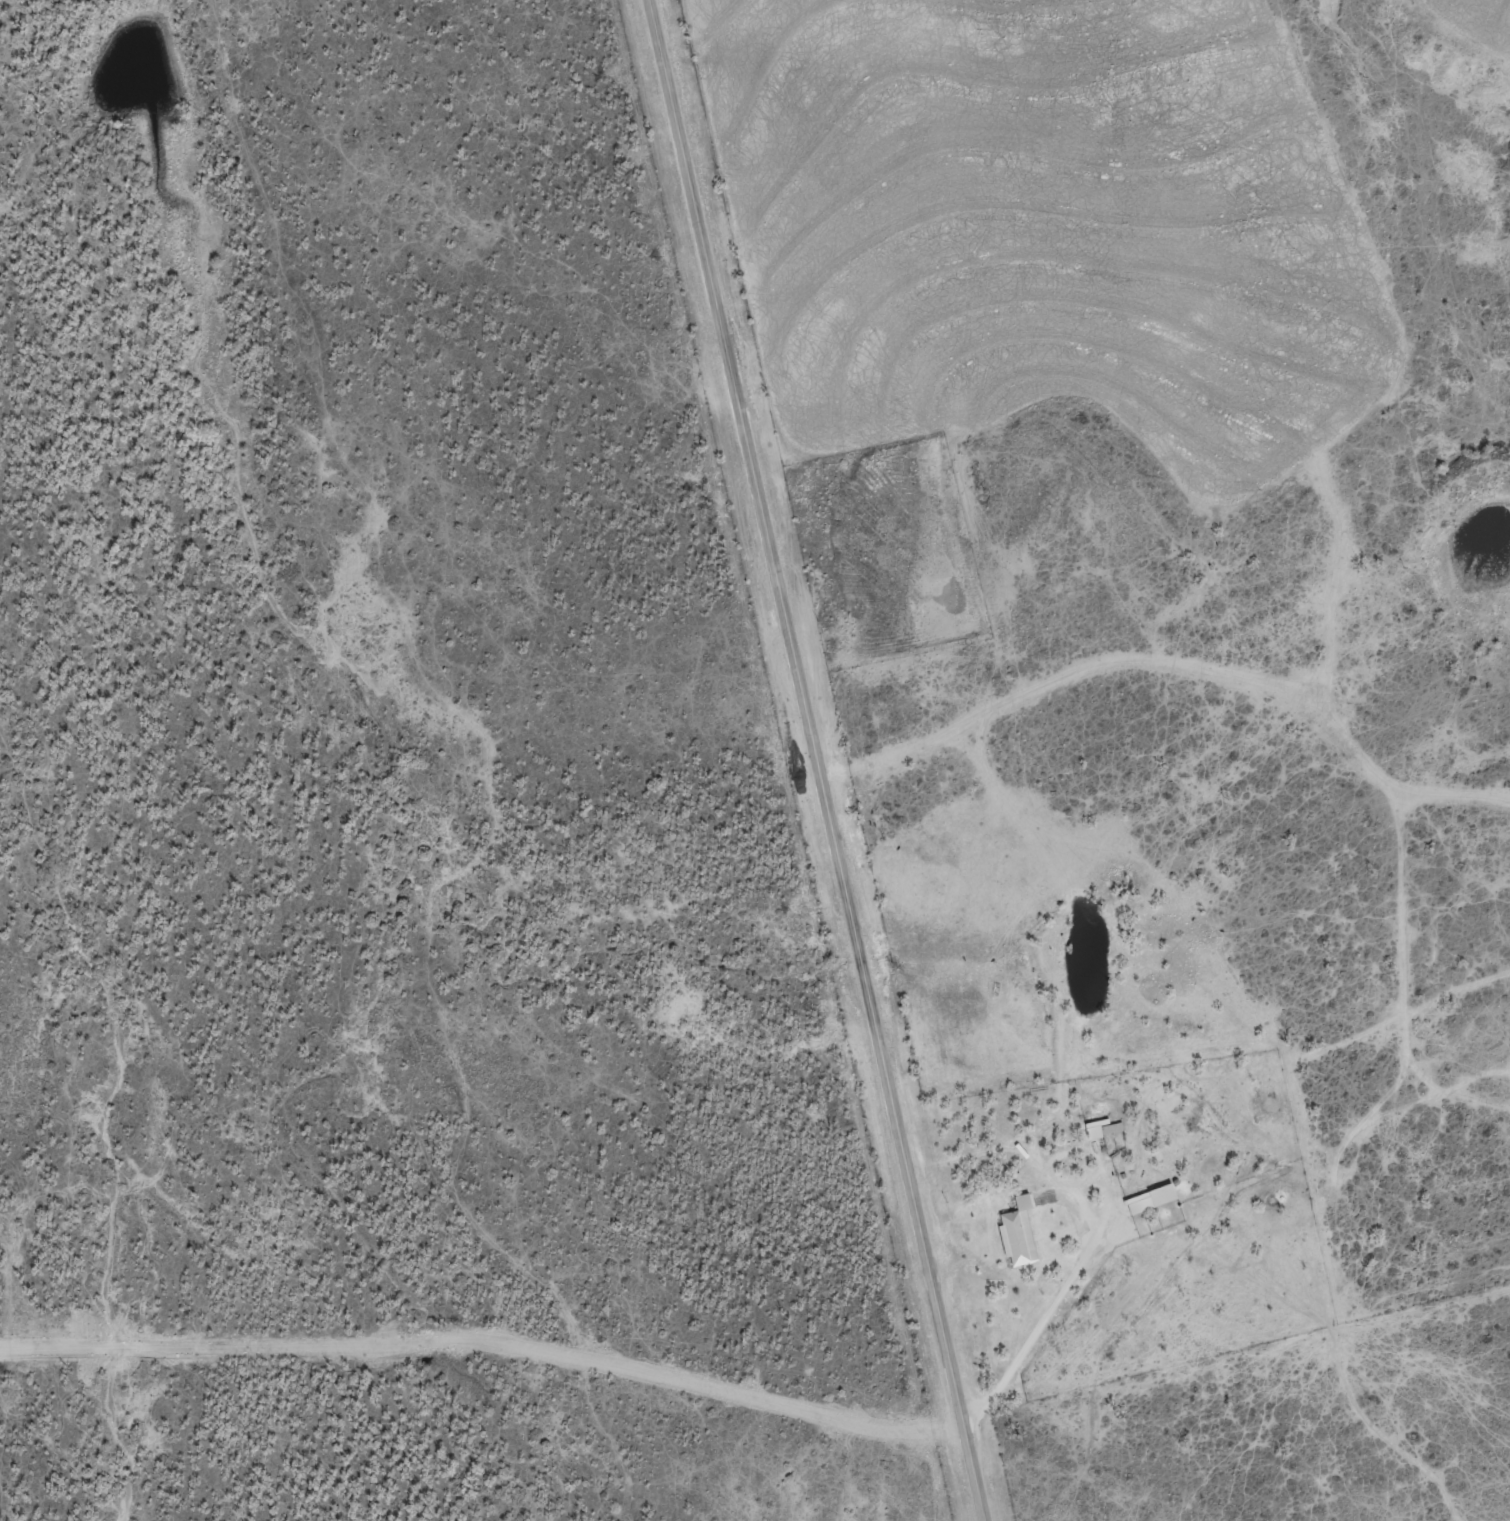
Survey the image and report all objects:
road: (784, 637)
building: (1021, 1228)
road: (1046, 1314)
road: (952, 1398)

